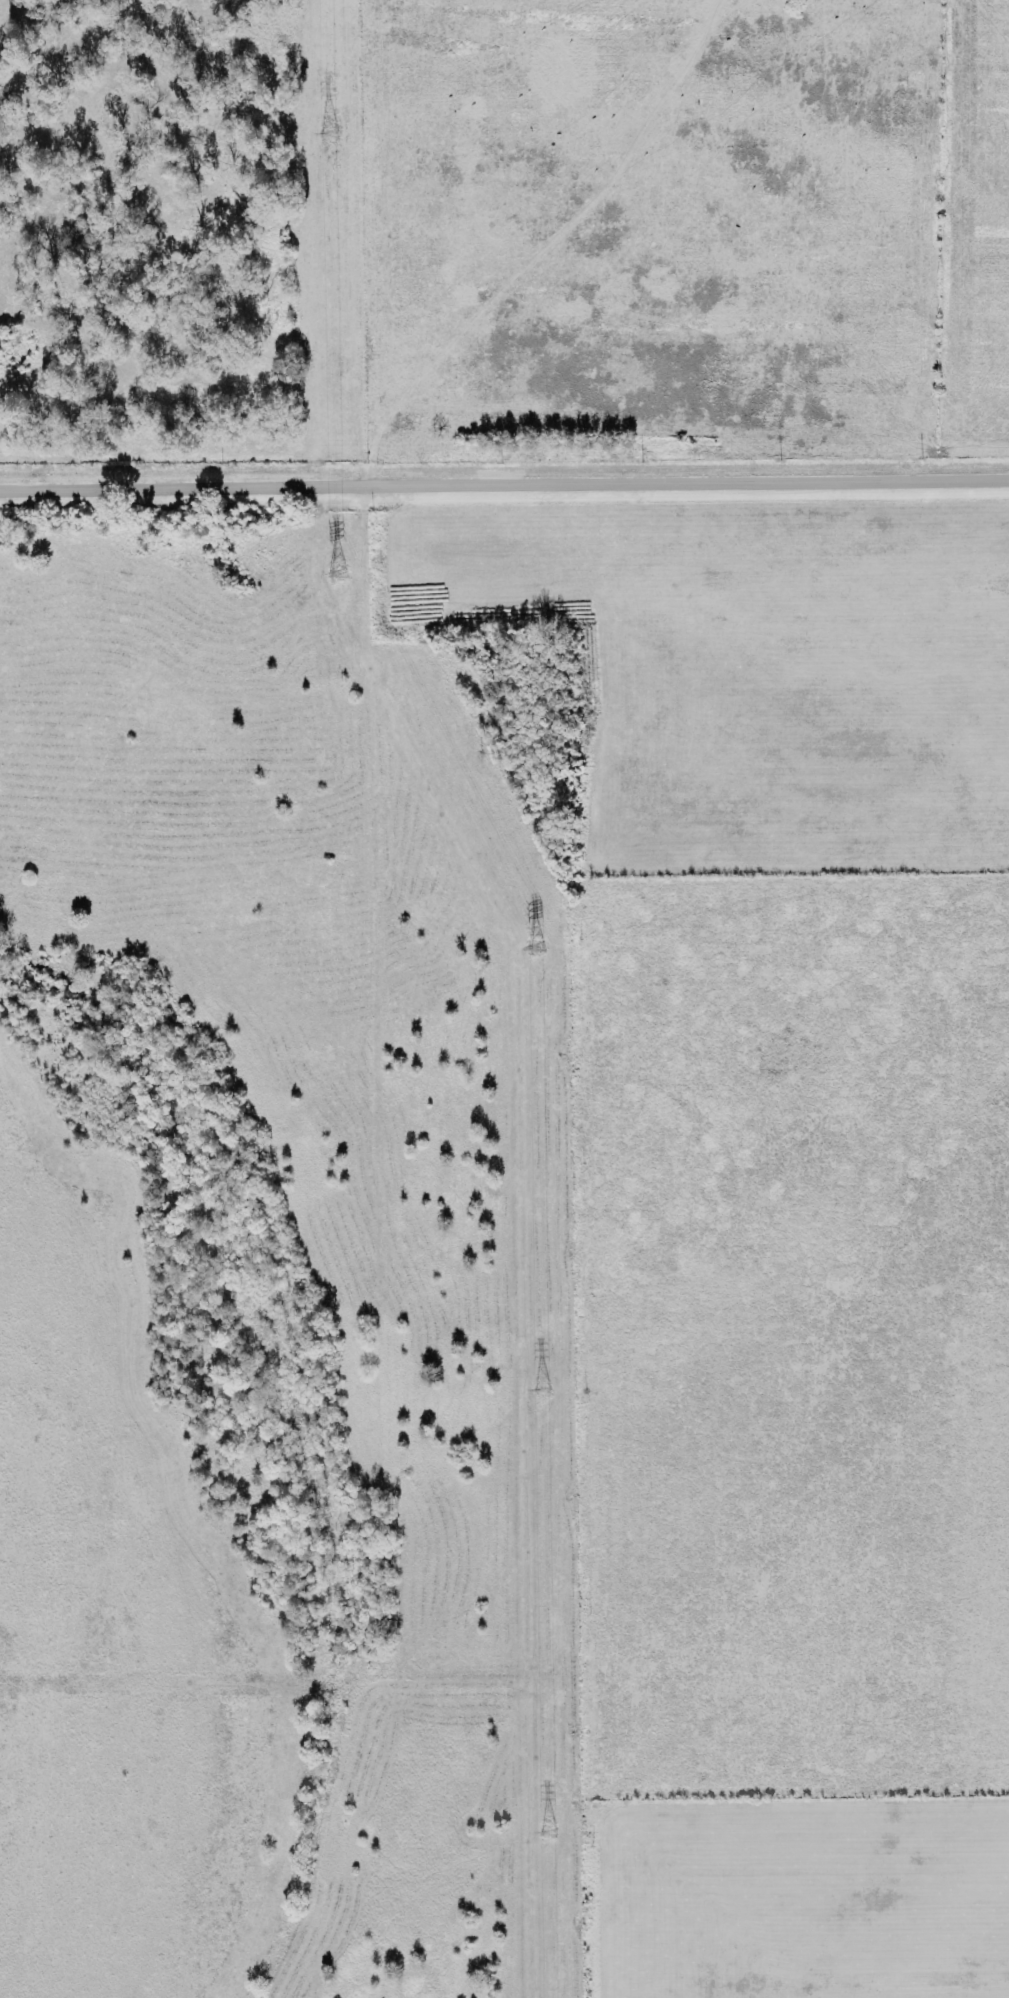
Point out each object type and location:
power tower: (328, 131)
road: (504, 483)
power tower: (338, 580)
power tower: (537, 945)
power tower: (540, 1387)
power tower: (549, 1833)

